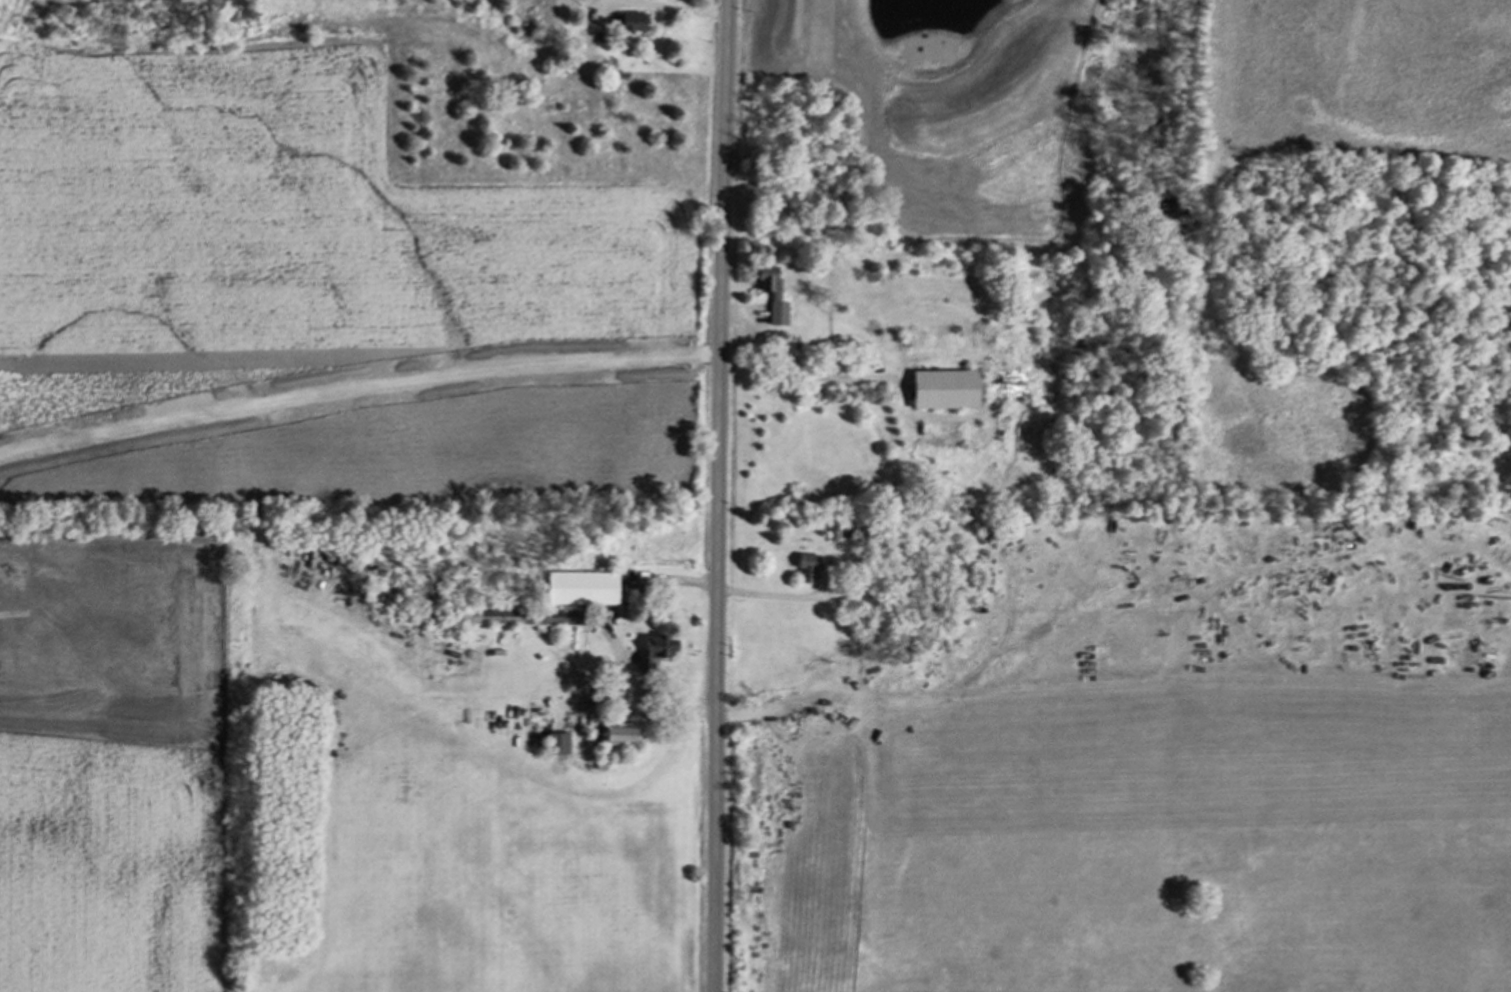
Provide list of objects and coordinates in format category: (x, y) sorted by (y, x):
road: (664, 7)
building: (629, 20)
crop: (1363, 87)
crop: (317, 289)
building: (772, 293)
road: (799, 359)
building: (943, 388)
road: (717, 495)
building: (806, 566)
building: (581, 587)
road: (838, 594)
building: (654, 650)
road: (650, 702)
building: (619, 733)
quarry: (120, 734)
building: (557, 743)
crop: (109, 867)

